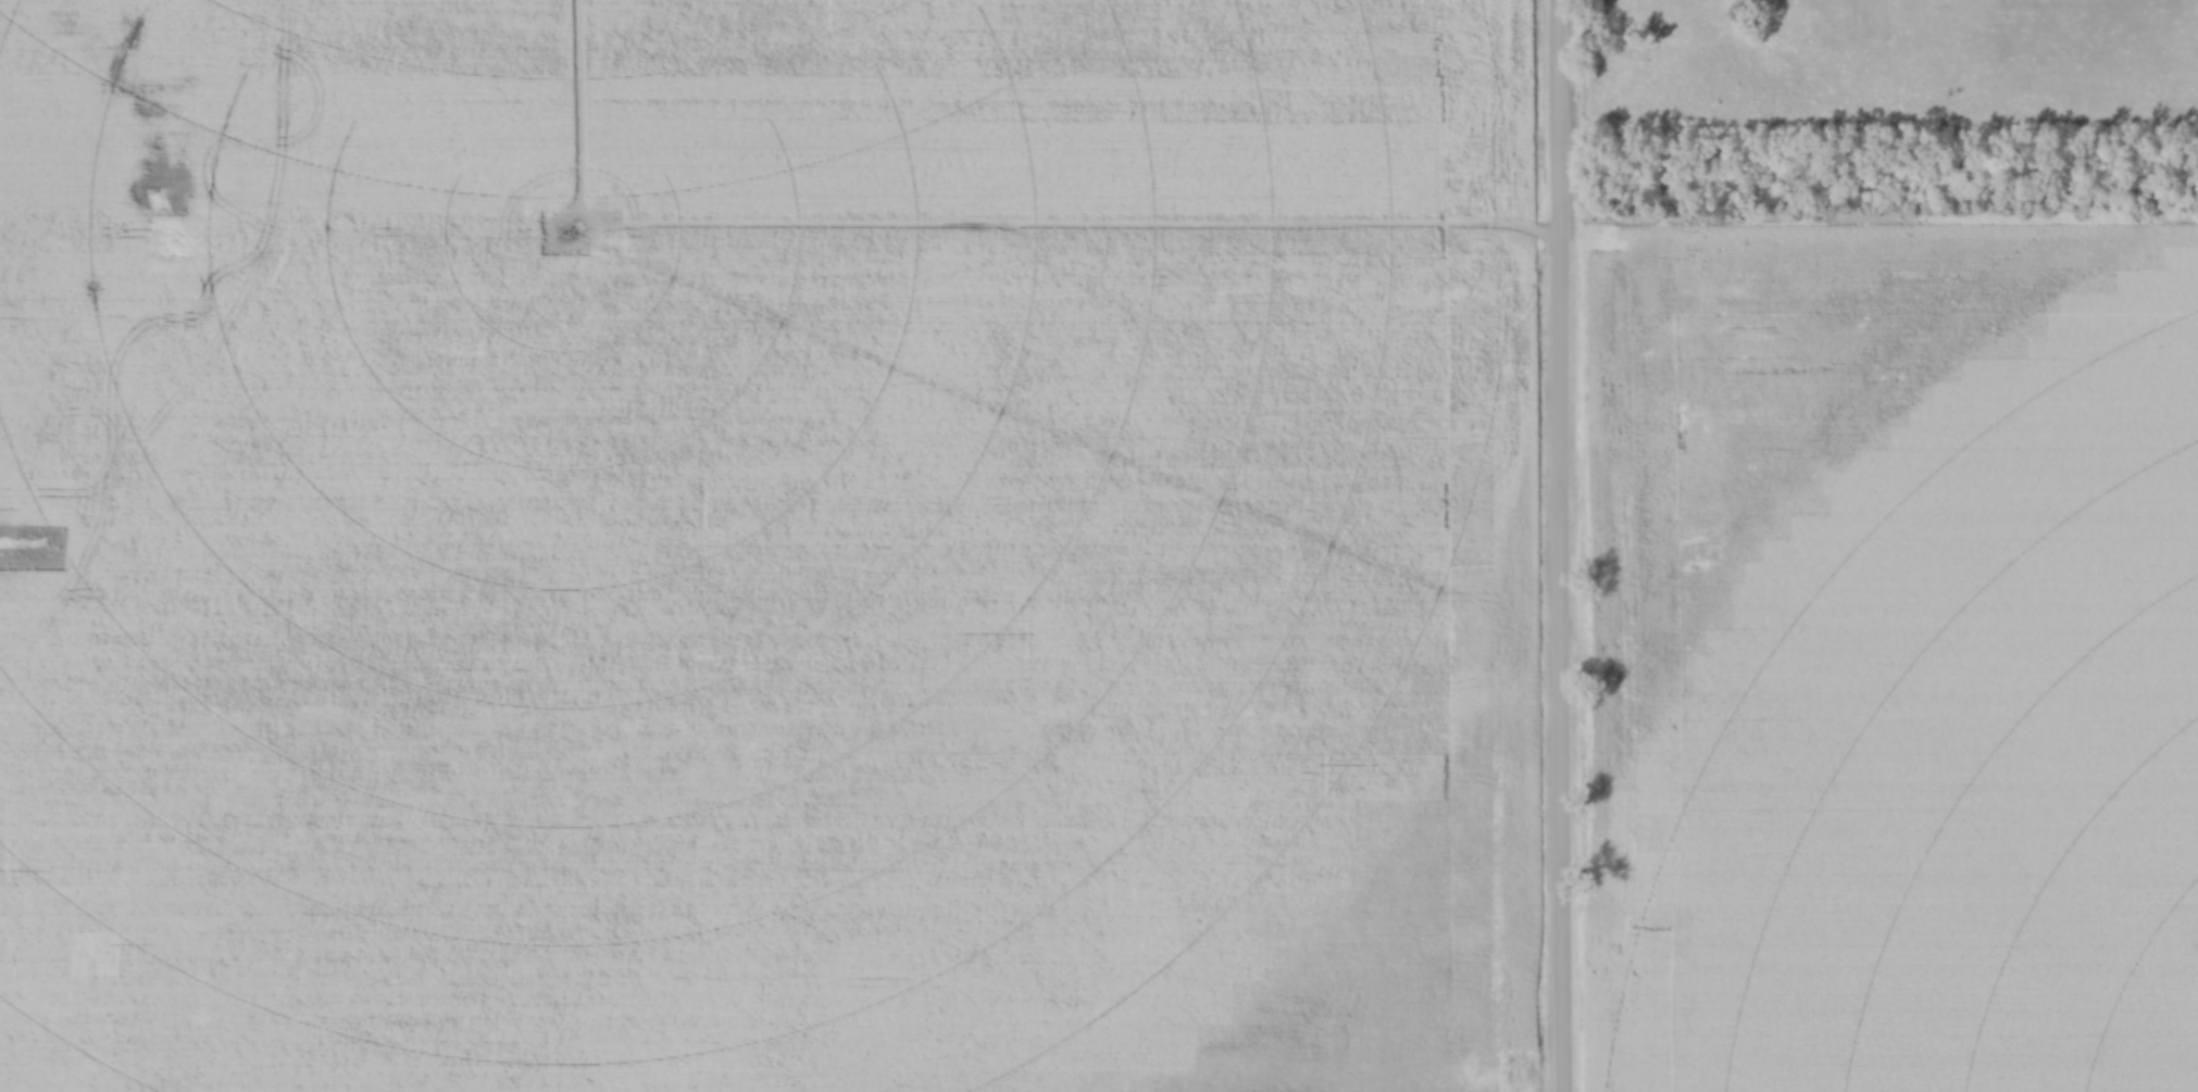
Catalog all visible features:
road: (1563, 545)

